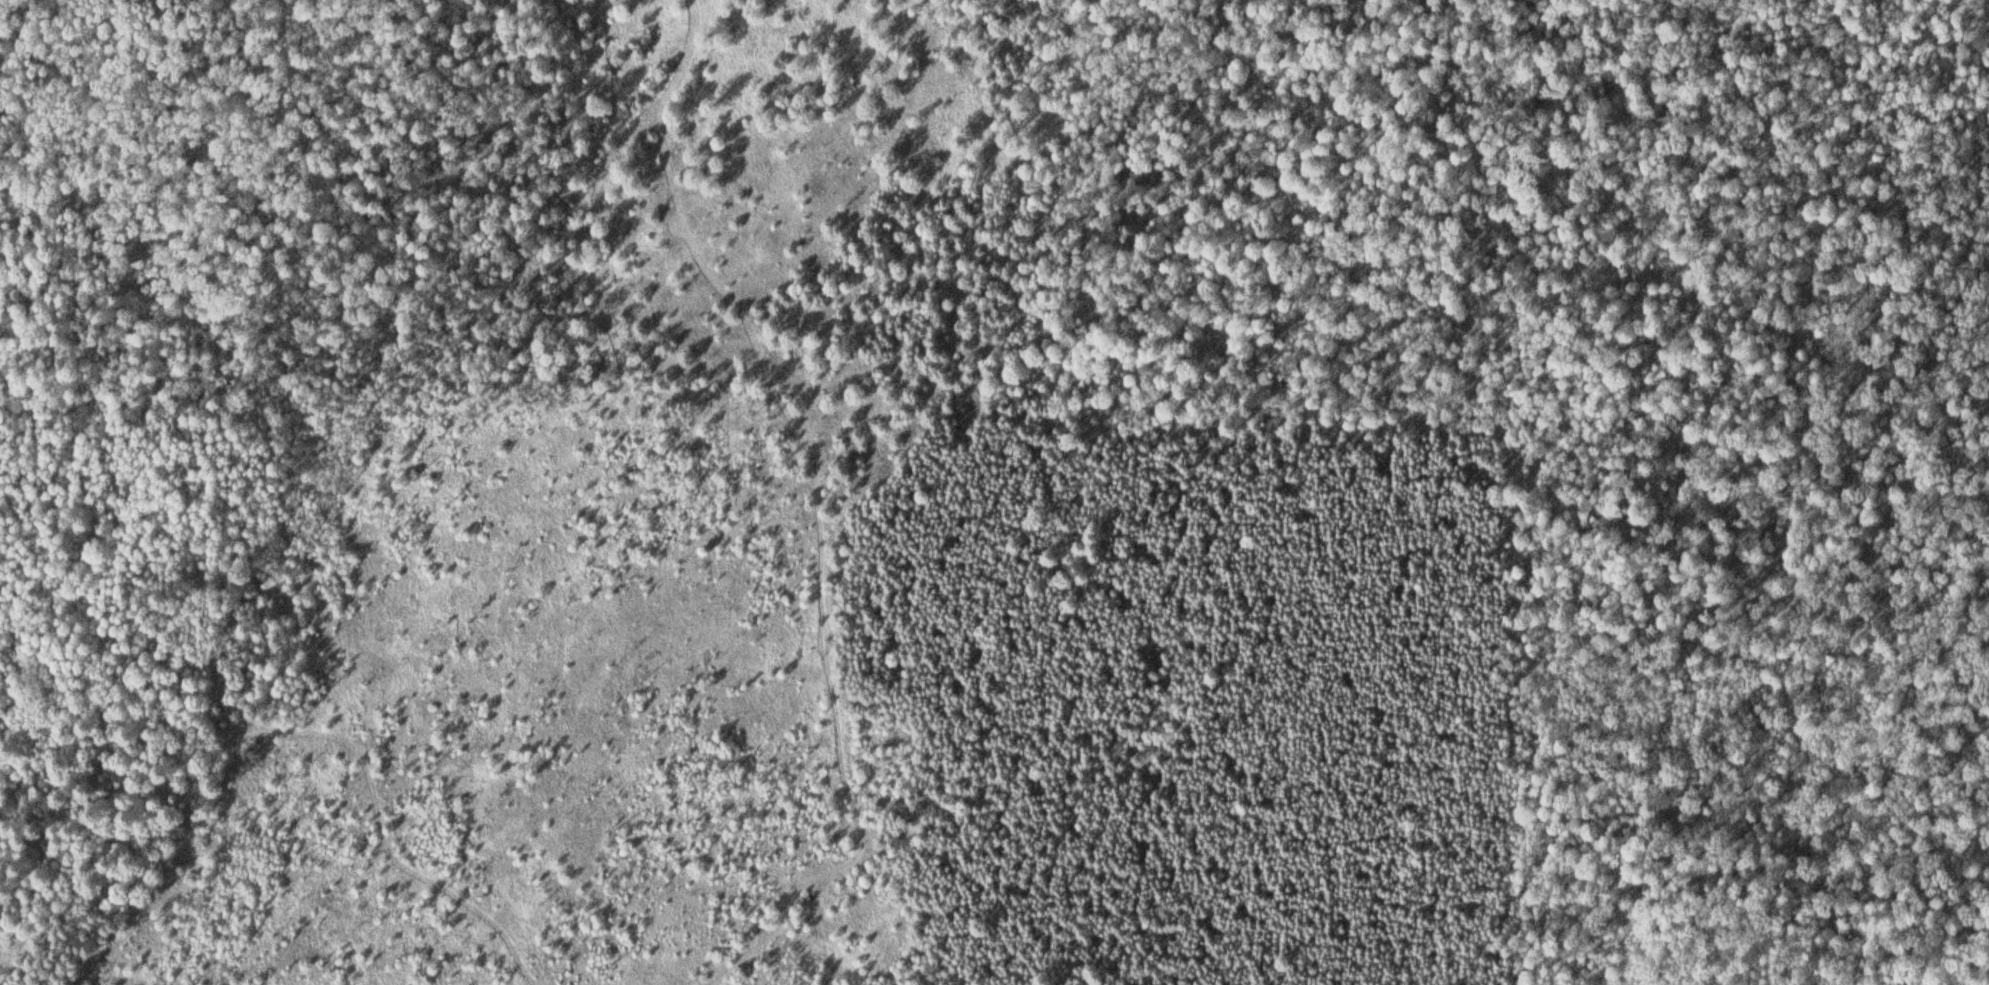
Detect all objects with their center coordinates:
road: (812, 501)

